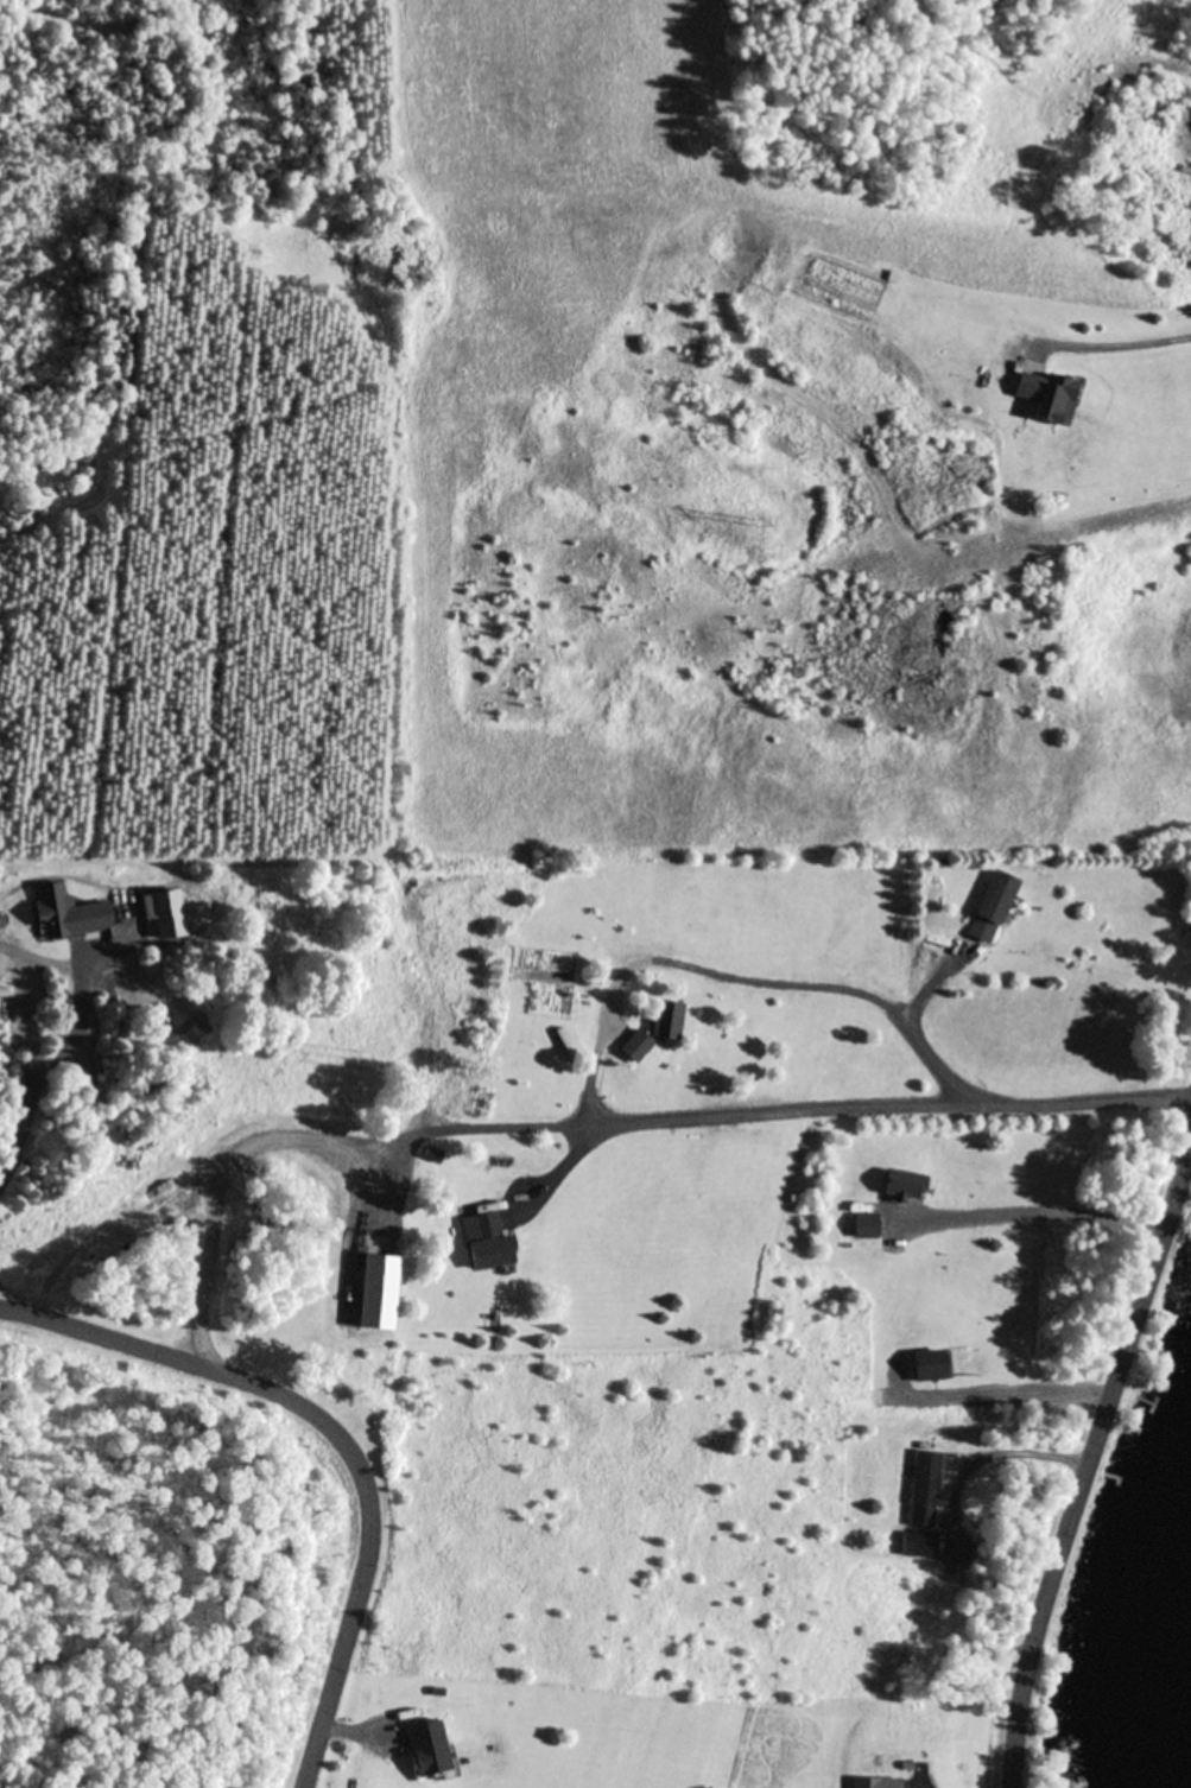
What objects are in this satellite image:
building: (1045, 397)
power tower: (752, 522)
building: (989, 908)
building: (665, 1022)
building: (633, 1048)
power tower: (360, 1060)
building: (431, 1156)
building: (902, 1188)
building: (864, 1228)
building: (486, 1243)
building: (927, 1367)
road: (338, 1437)
road: (1087, 1448)
building: (924, 1490)
building: (426, 1750)
building: (874, 1783)

